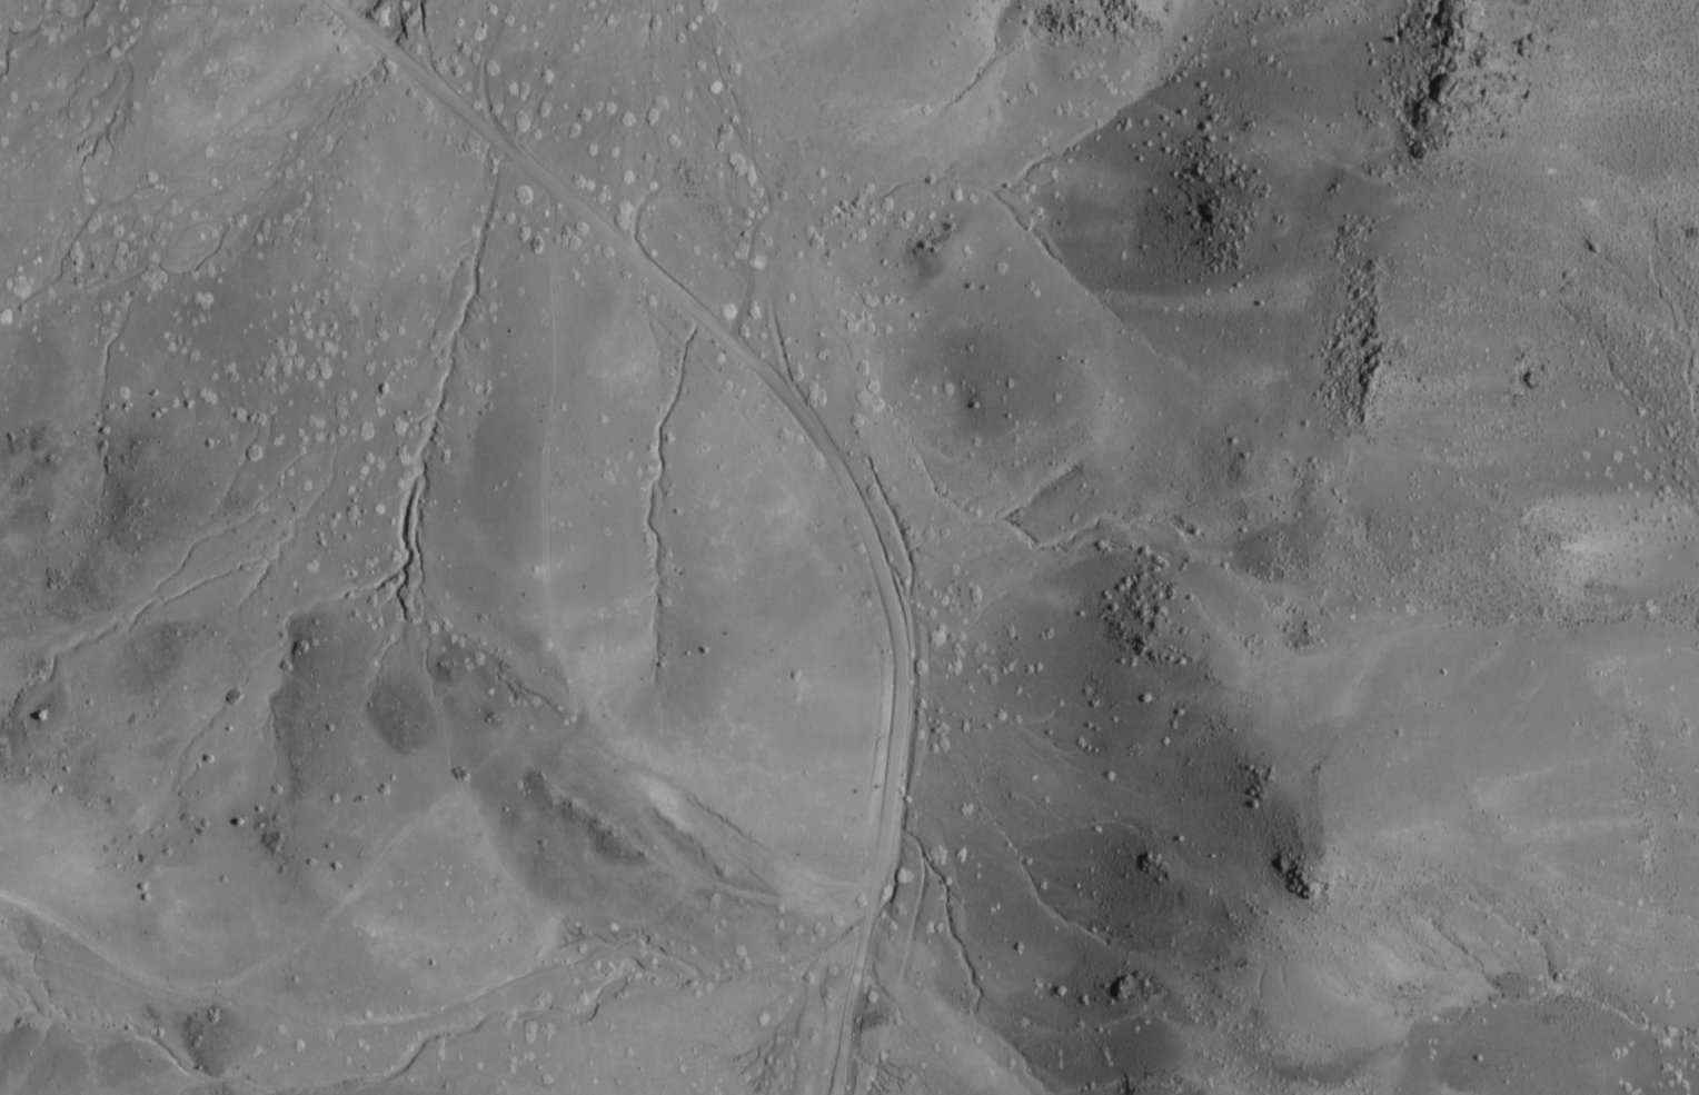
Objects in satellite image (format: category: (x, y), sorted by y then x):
road: (823, 450)

